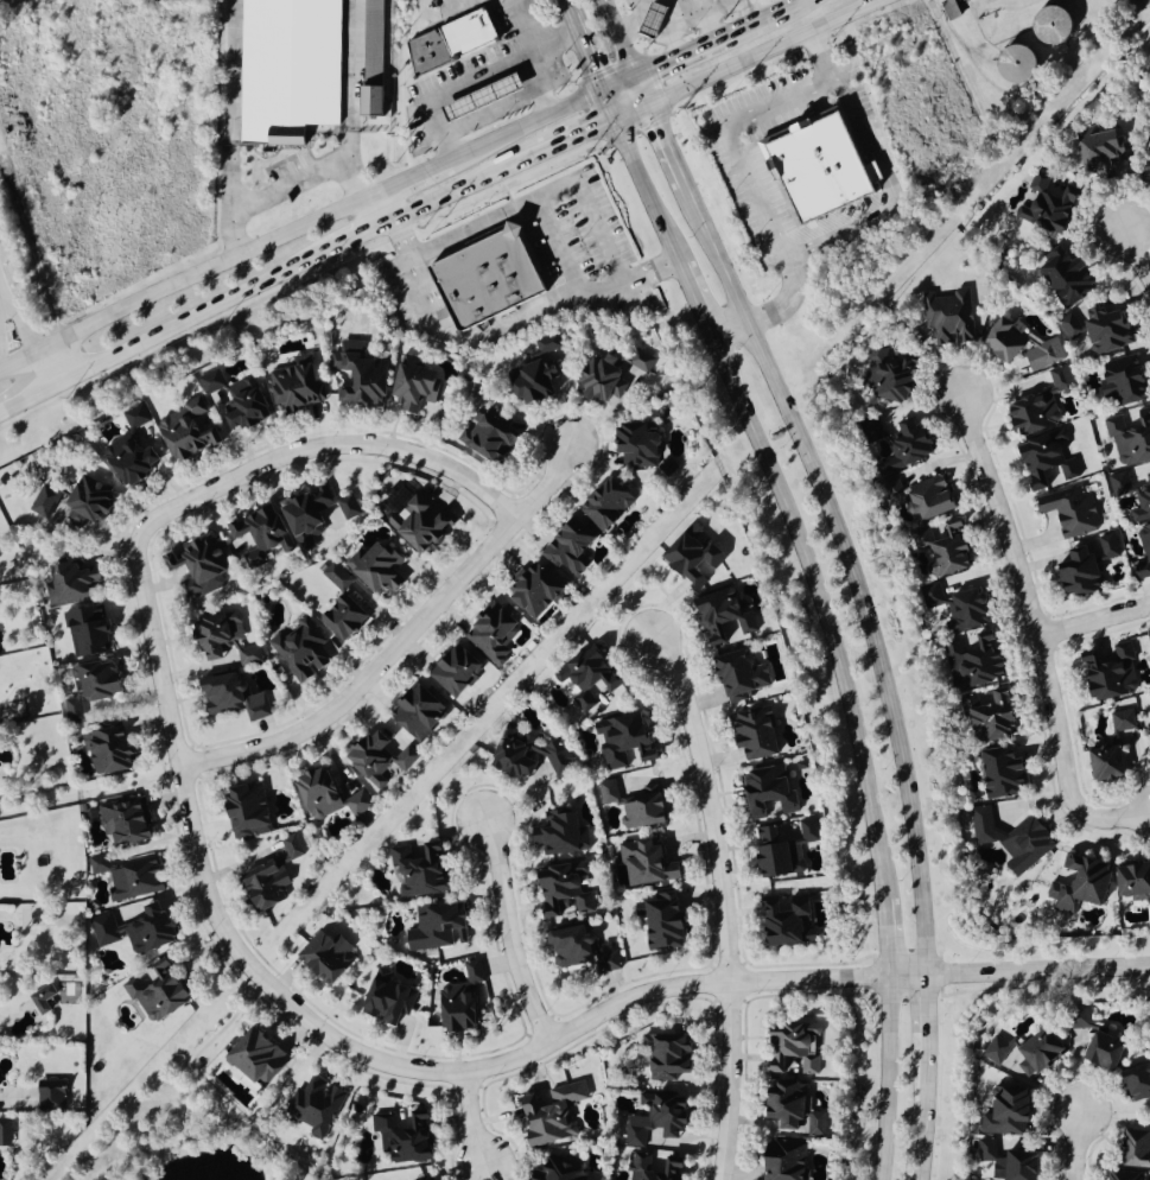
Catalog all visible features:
road: (447, 1)
road: (1005, 5)
road: (568, 7)
building: (954, 9)
road: (767, 17)
building: (653, 20)
road: (533, 25)
building: (1056, 26)
building: (457, 42)
road: (628, 51)
road: (586, 53)
road: (685, 55)
road: (743, 59)
building: (376, 61)
building: (288, 69)
traffic signals: (638, 76)
road: (481, 81)
road: (344, 84)
road: (541, 85)
traffic signals: (603, 91)
building: (482, 97)
traffic signals: (650, 103)
road: (227, 104)
road: (542, 119)
traffic signals: (615, 120)
road: (565, 141)
road: (668, 145)
building: (1094, 153)
road: (742, 161)
building: (819, 167)
building: (1144, 172)
road: (412, 178)
road: (640, 178)
road: (281, 183)
road: (546, 190)
building: (1043, 204)
road: (383, 205)
road: (1135, 258)
building: (1060, 277)
building: (487, 278)
road: (188, 283)
road: (256, 283)
road: (692, 302)
road: (15, 305)
building: (943, 319)
building: (1068, 326)
building: (1101, 329)
road: (728, 331)
building: (999, 340)
building: (551, 343)
building: (1042, 355)
building: (638, 361)
road: (39, 370)
building: (883, 375)
building: (364, 376)
building: (1057, 379)
building: (599, 380)
building: (214, 381)
building: (1119, 381)
building: (528, 382)
building: (421, 385)
building: (301, 388)
building: (249, 402)
building: (1028, 413)
building: (139, 417)
building: (193, 431)
building: (483, 437)
building: (1129, 438)
building: (631, 445)
road: (319, 446)
building: (904, 446)
building: (135, 461)
building: (1043, 461)
building: (1118, 484)
building: (891, 493)
building: (926, 497)
building: (1142, 500)
building: (47, 501)
building: (97, 502)
building: (602, 503)
building: (1067, 510)
building: (322, 513)
building: (413, 518)
building: (267, 531)
building: (566, 546)
building: (940, 547)
building: (1106, 547)
building: (1142, 553)
building: (691, 558)
building: (205, 566)
building: (374, 567)
road: (850, 570)
building: (1074, 573)
building: (336, 578)
building: (78, 584)
building: (529, 591)
building: (929, 597)
building: (964, 609)
road: (821, 610)
building: (339, 617)
building: (720, 618)
road: (1095, 622)
building: (93, 632)
building: (489, 634)
road: (1040, 635)
building: (1149, 637)
building: (222, 641)
road: (402, 642)
building: (300, 651)
building: (970, 660)
building: (450, 671)
building: (1105, 673)
building: (583, 677)
building: (736, 677)
building: (107, 679)
building: (216, 693)
building: (254, 706)
building: (76, 708)
building: (414, 712)
building: (985, 715)
building: (1120, 721)
building: (751, 734)
building: (620, 741)
building: (114, 749)
building: (1148, 749)
building: (521, 755)
building: (376, 756)
building: (1101, 763)
building: (998, 773)
building: (764, 792)
building: (316, 793)
building: (357, 804)
building: (629, 806)
building: (243, 812)
building: (129, 820)
building: (554, 835)
building: (1003, 840)
building: (291, 848)
building: (779, 850)
building: (102, 863)
building: (642, 863)
building: (414, 869)
building: (139, 878)
building: (1129, 881)
building: (263, 886)
building: (1074, 887)
building: (557, 893)
road: (720, 902)
building: (782, 921)
building: (659, 922)
building: (432, 927)
building: (107, 930)
building: (157, 930)
road: (510, 934)
road: (883, 940)
building: (567, 946)
building: (323, 958)
building: (164, 991)
building: (43, 998)
building: (458, 1001)
building: (385, 1002)
road: (925, 1015)
building: (1092, 1042)
building: (787, 1049)
building: (993, 1051)
building: (1036, 1054)
building: (662, 1055)
building: (252, 1058)
road: (471, 1071)
road: (883, 1079)
building: (51, 1093)
building: (314, 1108)
building: (787, 1109)
building: (1002, 1111)
building: (547, 1115)
road: (925, 1117)
building: (653, 1119)
road: (469, 1121)
building: (6, 1133)
building: (400, 1135)
park: (188, 1140)
building: (1133, 1148)
road: (1076, 1149)
building: (985, 1150)
building: (780, 1160)
building: (1014, 1166)
building: (650, 1168)
building: (558, 1169)
building: (1119, 1176)
building: (422, 1179)

